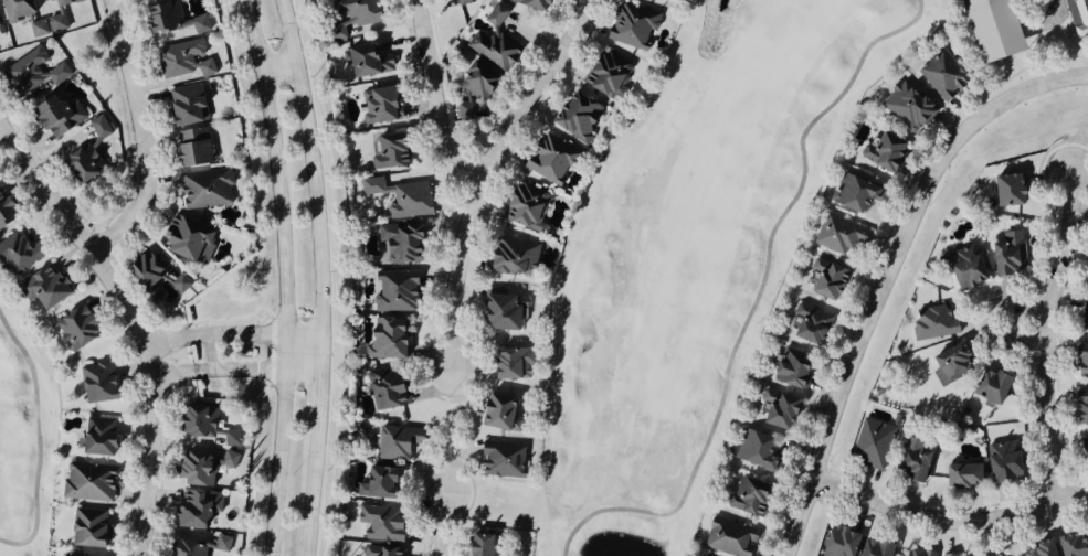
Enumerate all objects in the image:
building: (152, 1)
building: (527, 3)
building: (15, 9)
building: (55, 14)
building: (350, 15)
building: (495, 15)
building: (1077, 17)
building: (168, 19)
building: (630, 25)
building: (987, 28)
building: (36, 29)
park: (1017, 36)
building: (493, 49)
building: (182, 60)
building: (365, 61)
road: (278, 66)
building: (32, 73)
building: (603, 76)
building: (940, 77)
building: (471, 88)
road: (1034, 89)
road: (437, 97)
building: (183, 105)
building: (379, 105)
building: (905, 106)
building: (53, 116)
building: (574, 117)
building: (98, 128)
road: (142, 140)
building: (189, 147)
building: (385, 151)
building: (881, 151)
building: (548, 158)
building: (83, 162)
road: (487, 178)
building: (1006, 190)
building: (202, 191)
building: (853, 193)
building: (522, 206)
building: (3, 209)
building: (837, 235)
building: (184, 240)
building: (398, 244)
building: (1007, 253)
building: (17, 254)
park: (691, 257)
building: (509, 258)
building: (964, 269)
road: (284, 276)
road: (319, 276)
building: (156, 279)
building: (824, 279)
building: (1086, 284)
building: (40, 288)
building: (393, 291)
road: (756, 301)
building: (501, 309)
building: (1084, 319)
road: (984, 320)
building: (932, 323)
road: (135, 324)
building: (806, 324)
building: (74, 327)
road: (873, 328)
road: (1046, 338)
building: (385, 339)
road: (235, 340)
building: (1080, 362)
building: (509, 364)
building: (947, 365)
building: (789, 368)
road: (239, 372)
building: (95, 383)
building: (989, 387)
building: (381, 388)
building: (1080, 406)
building: (775, 409)
building: (494, 413)
building: (204, 426)
park: (25, 437)
building: (96, 437)
road: (34, 440)
building: (395, 442)
building: (870, 445)
building: (1084, 445)
building: (753, 450)
building: (499, 460)
building: (910, 461)
building: (1000, 461)
building: (201, 466)
building: (959, 477)
building: (376, 482)
building: (87, 483)
building: (744, 496)
building: (188, 511)
road: (950, 521)
building: (379, 523)
road: (440, 525)
building: (86, 528)
building: (728, 537)
building: (837, 542)
building: (476, 545)
building: (1070, 546)
building: (198, 547)
building: (872, 548)
building: (1038, 549)
building: (379, 552)
building: (916, 553)
building: (997, 554)
building: (61, 555)

